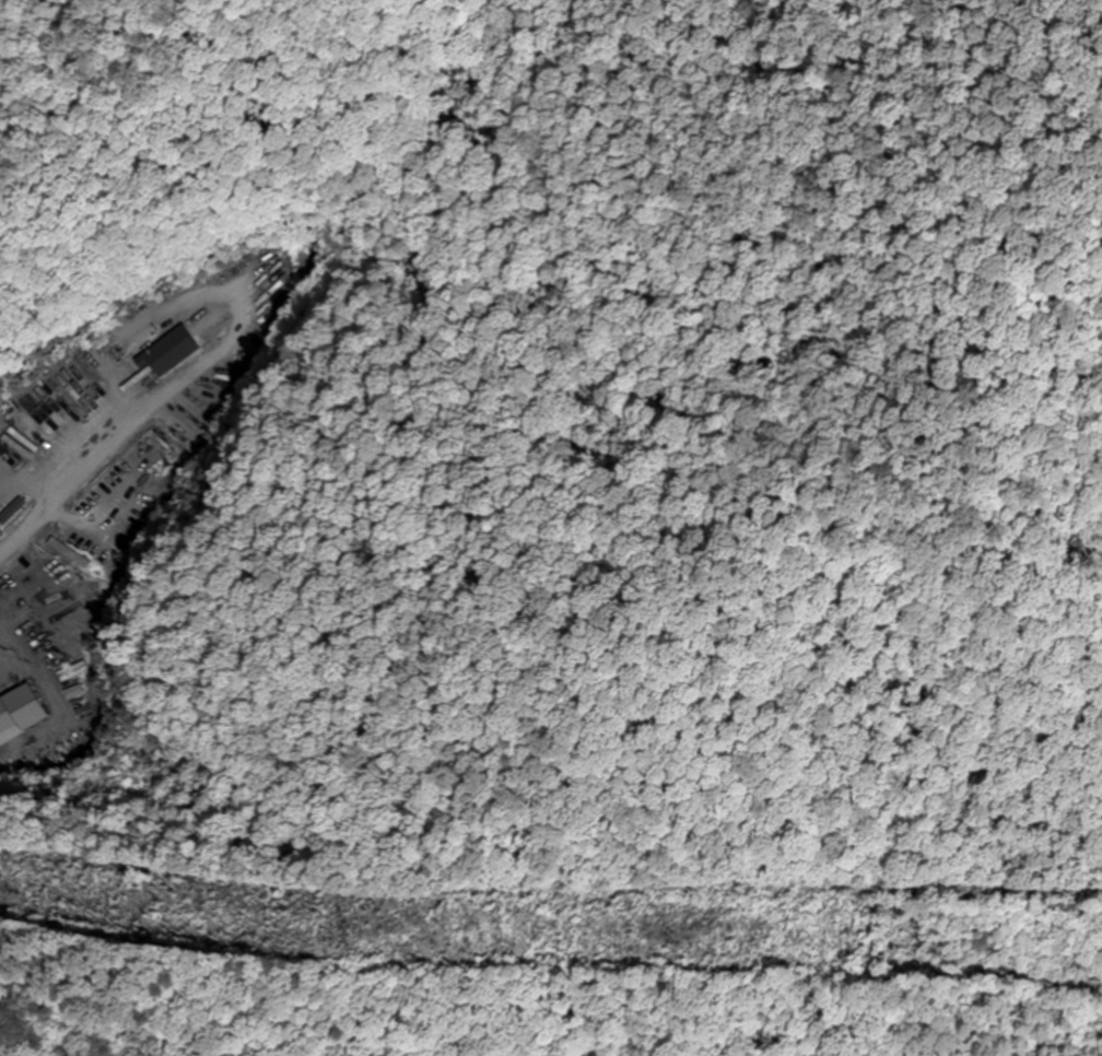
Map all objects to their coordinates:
building: (177, 351)
building: (15, 442)
building: (17, 511)
road: (21, 599)
building: (71, 672)
building: (23, 714)

